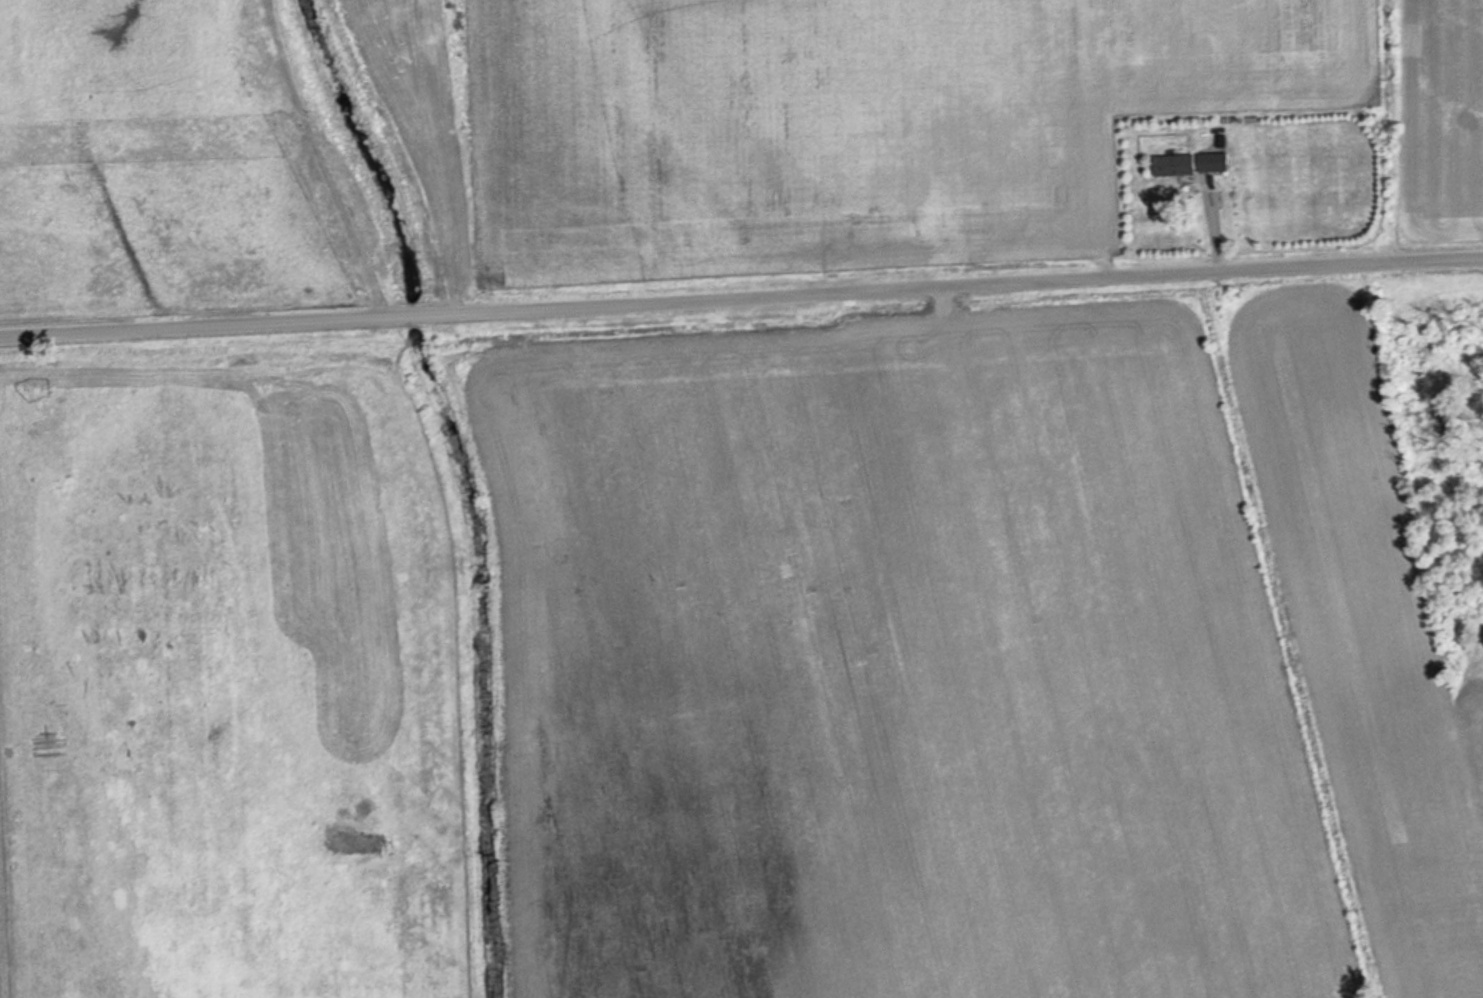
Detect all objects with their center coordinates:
road: (318, 159)
building: (1215, 161)
building: (1176, 164)
road: (741, 297)

